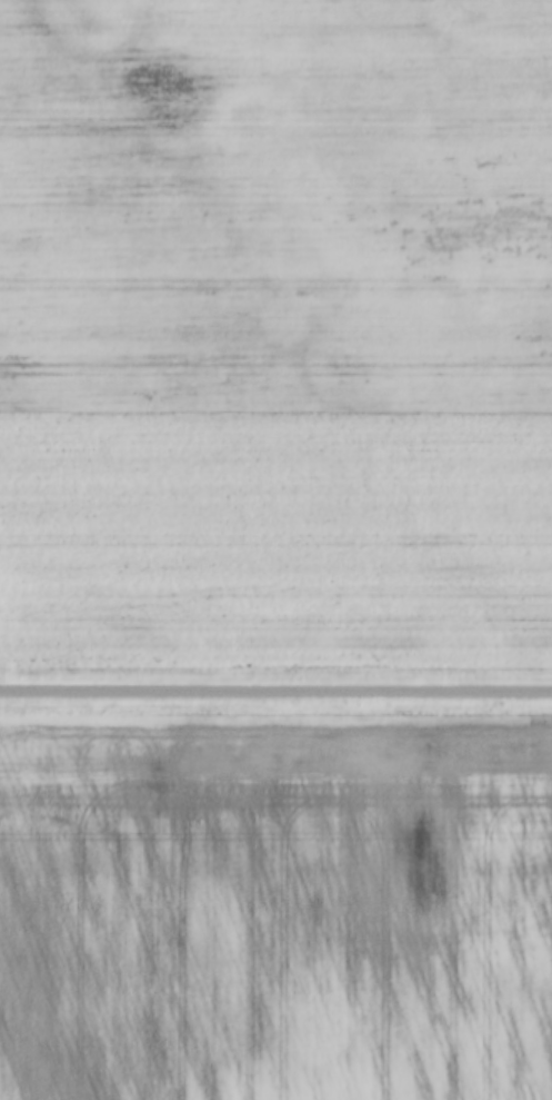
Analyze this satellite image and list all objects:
road: (275, 690)

